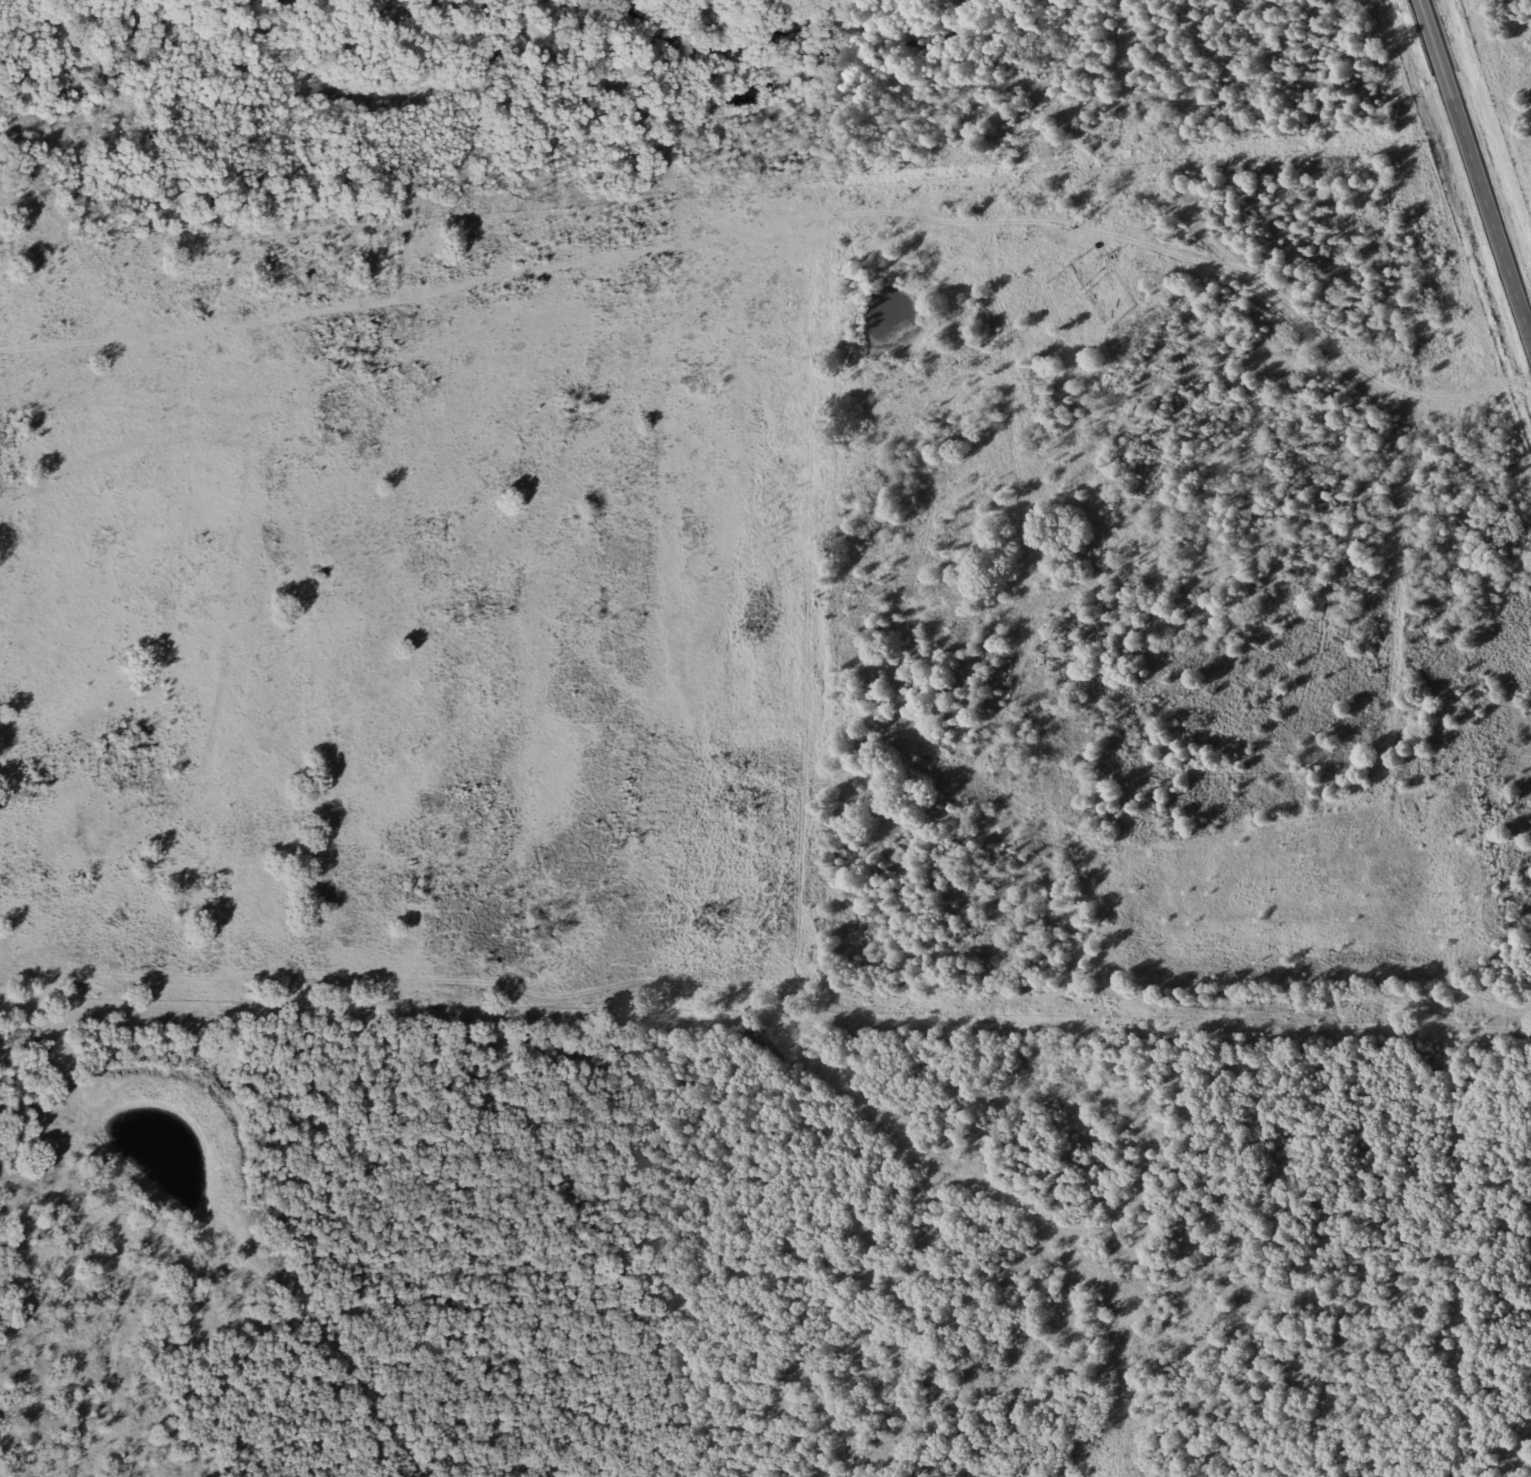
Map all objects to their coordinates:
road: (1476, 166)

